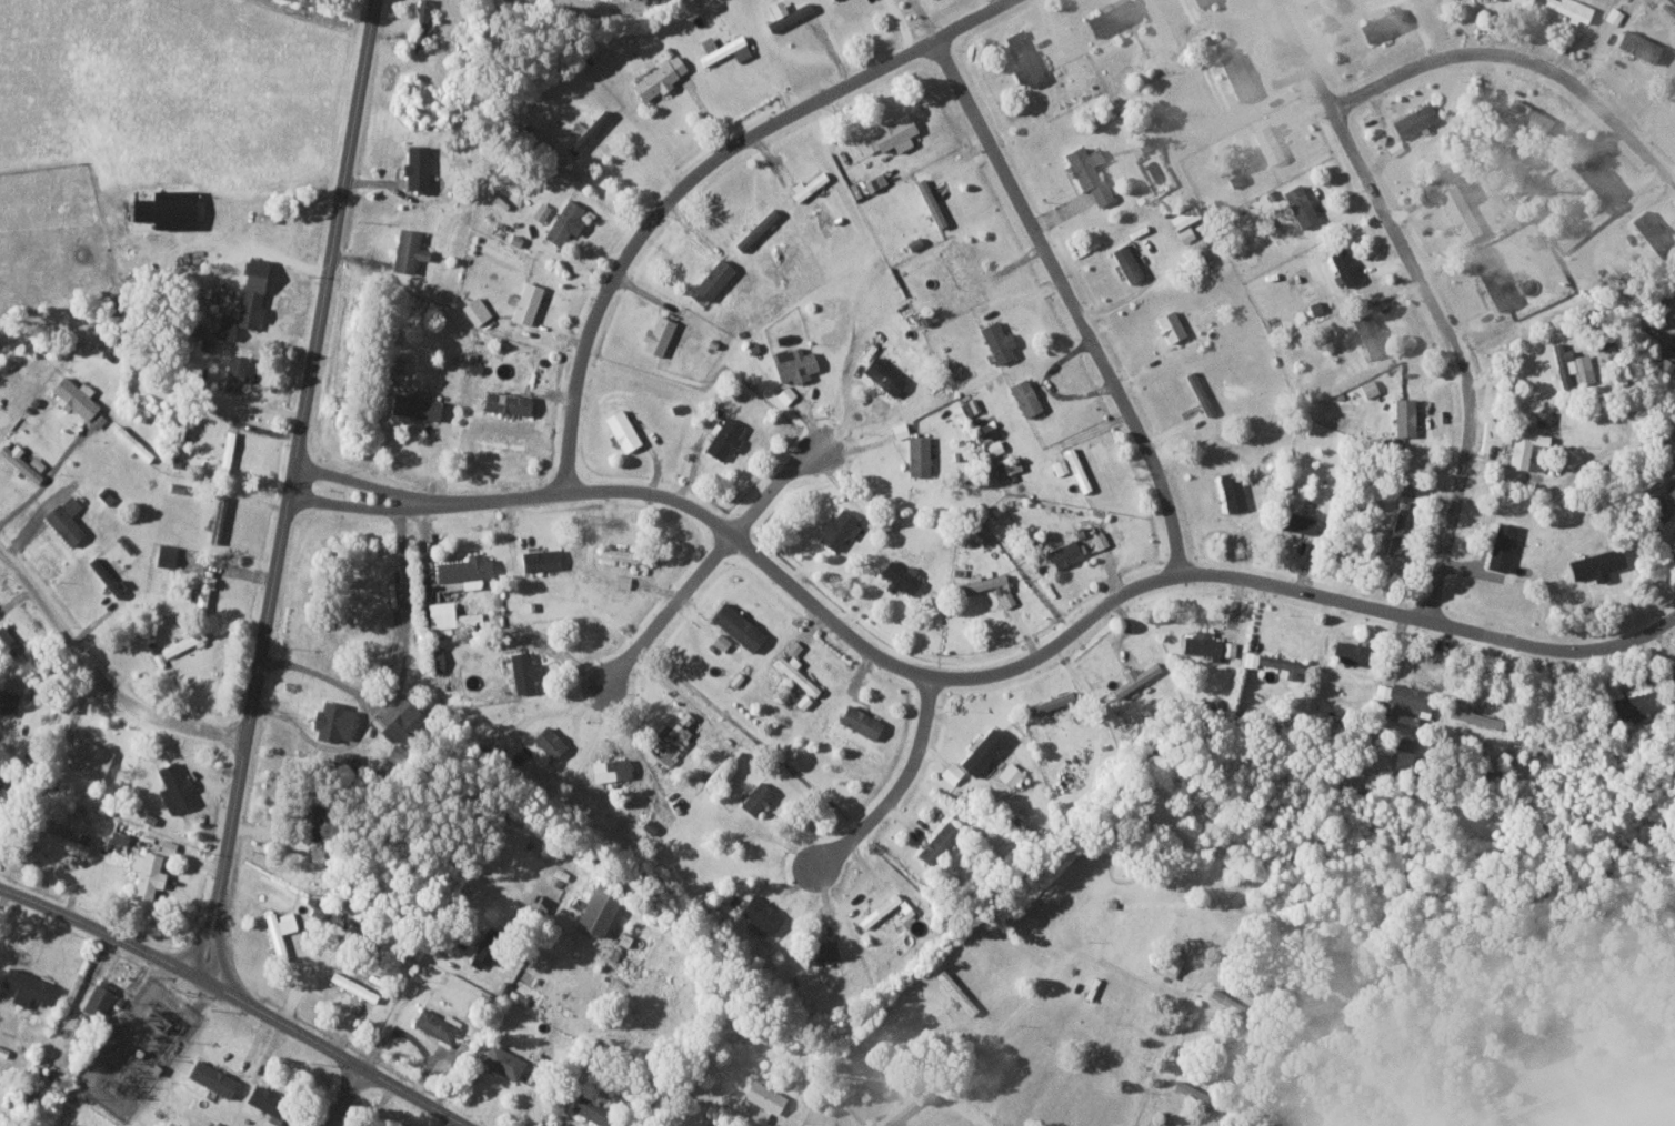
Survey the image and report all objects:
building: (1198, 1)
building: (1571, 9)
building: (1666, 11)
building: (784, 13)
building: (1614, 16)
building: (1110, 17)
building: (1382, 24)
building: (419, 26)
building: (1637, 44)
building: (722, 49)
building: (1022, 59)
road: (1523, 59)
building: (1236, 74)
building: (658, 78)
building: (1524, 114)
building: (1413, 120)
building: (588, 131)
building: (890, 134)
building: (1145, 143)
building: (1267, 143)
building: (415, 168)
road: (701, 172)
building: (1087, 172)
building: (1596, 178)
building: (1235, 179)
building: (874, 181)
building: (806, 185)
building: (930, 201)
building: (1300, 204)
building: (1458, 207)
building: (170, 212)
building: (1183, 218)
building: (1508, 220)
building: (563, 222)
building: (1648, 229)
building: (1185, 233)
building: (407, 250)
building: (1126, 262)
building: (956, 264)
building: (1342, 267)
building: (711, 280)
building: (1493, 281)
road: (1430, 296)
building: (244, 300)
road: (1074, 300)
building: (524, 303)
building: (1312, 308)
building: (927, 316)
building: (1170, 325)
building: (193, 329)
building: (1368, 333)
building: (656, 335)
building: (997, 342)
building: (1664, 359)
building: (793, 363)
building: (394, 364)
building: (1573, 364)
building: (952, 369)
building: (233, 373)
building: (882, 375)
building: (1367, 388)
building: (1198, 392)
building: (784, 393)
building: (72, 396)
building: (1024, 396)
building: (504, 402)
building: (414, 405)
building: (1543, 415)
building: (1403, 416)
building: (96, 420)
building: (621, 430)
building: (899, 430)
building: (723, 438)
building: (131, 443)
building: (993, 448)
building: (1522, 448)
building: (225, 452)
building: (917, 455)
building: (18, 462)
building: (1003, 465)
building: (1060, 465)
road: (362, 483)
road: (44, 485)
road: (293, 487)
building: (1231, 490)
building: (1665, 501)
building: (215, 519)
building: (64, 520)
building: (1295, 522)
building: (1396, 527)
building: (838, 529)
building: (1100, 540)
building: (1500, 546)
building: (1064, 553)
building: (164, 555)
building: (626, 555)
building: (539, 560)
building: (1595, 562)
road: (711, 564)
building: (463, 572)
building: (103, 576)
building: (900, 576)
building: (622, 581)
building: (984, 583)
building: (202, 590)
building: (1006, 599)
building: (450, 616)
building: (736, 626)
building: (720, 641)
building: (181, 643)
building: (7, 644)
building: (1200, 644)
building: (792, 647)
building: (1228, 649)
building: (1351, 653)
building: (1126, 658)
building: (437, 660)
building: (1274, 664)
road: (405, 667)
building: (521, 672)
building: (793, 672)
road: (103, 675)
road: (975, 675)
building: (1135, 677)
building: (7, 702)
building: (1629, 706)
building: (1474, 717)
building: (395, 718)
building: (331, 722)
building: (859, 722)
building: (672, 738)
building: (546, 744)
building: (982, 752)
building: (1405, 753)
building: (90, 758)
building: (344, 760)
building: (610, 770)
building: (951, 772)
building: (1010, 774)
road: (897, 787)
building: (173, 788)
building: (755, 798)
building: (307, 821)
building: (82, 837)
building: (937, 843)
building: (167, 846)
building: (146, 875)
building: (598, 908)
building: (879, 911)
building: (761, 914)
building: (278, 929)
road: (104, 931)
building: (820, 952)
building: (1169, 959)
road: (1135, 976)
building: (26, 987)
building: (354, 987)
building: (954, 991)
building: (98, 1001)
road: (402, 1001)
building: (1226, 1001)
building: (437, 1025)
power substation: (138, 1048)
road: (1172, 1048)
road: (338, 1052)
road: (427, 1052)
building: (1541, 1052)
building: (501, 1062)
road: (454, 1070)
building: (210, 1079)
building: (36, 1086)
building: (1190, 1090)
road: (1593, 1092)
road: (347, 1096)
building: (763, 1097)
building: (261, 1099)
road: (1627, 1104)
road: (962, 1106)
building: (590, 1109)
building: (896, 1112)

